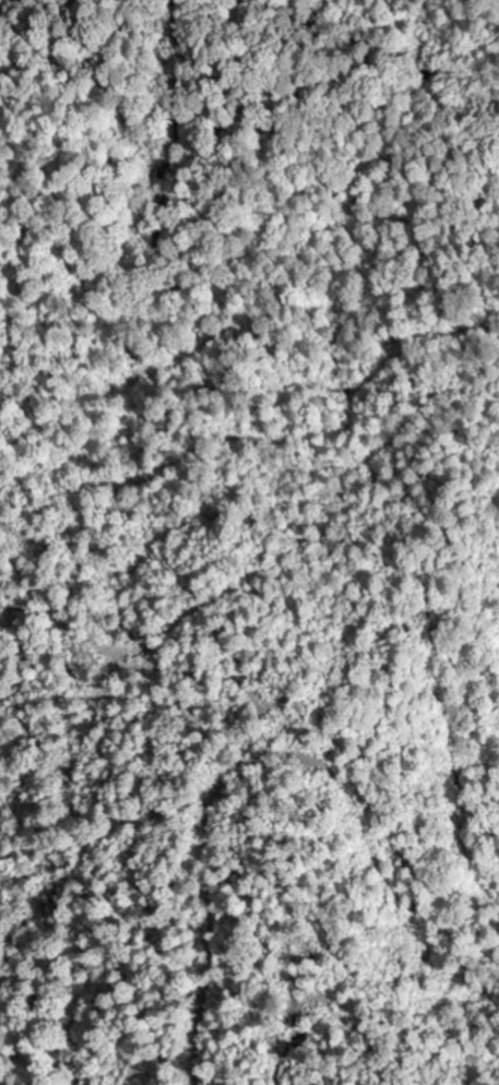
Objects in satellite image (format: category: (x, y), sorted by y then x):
road: (491, 2)

